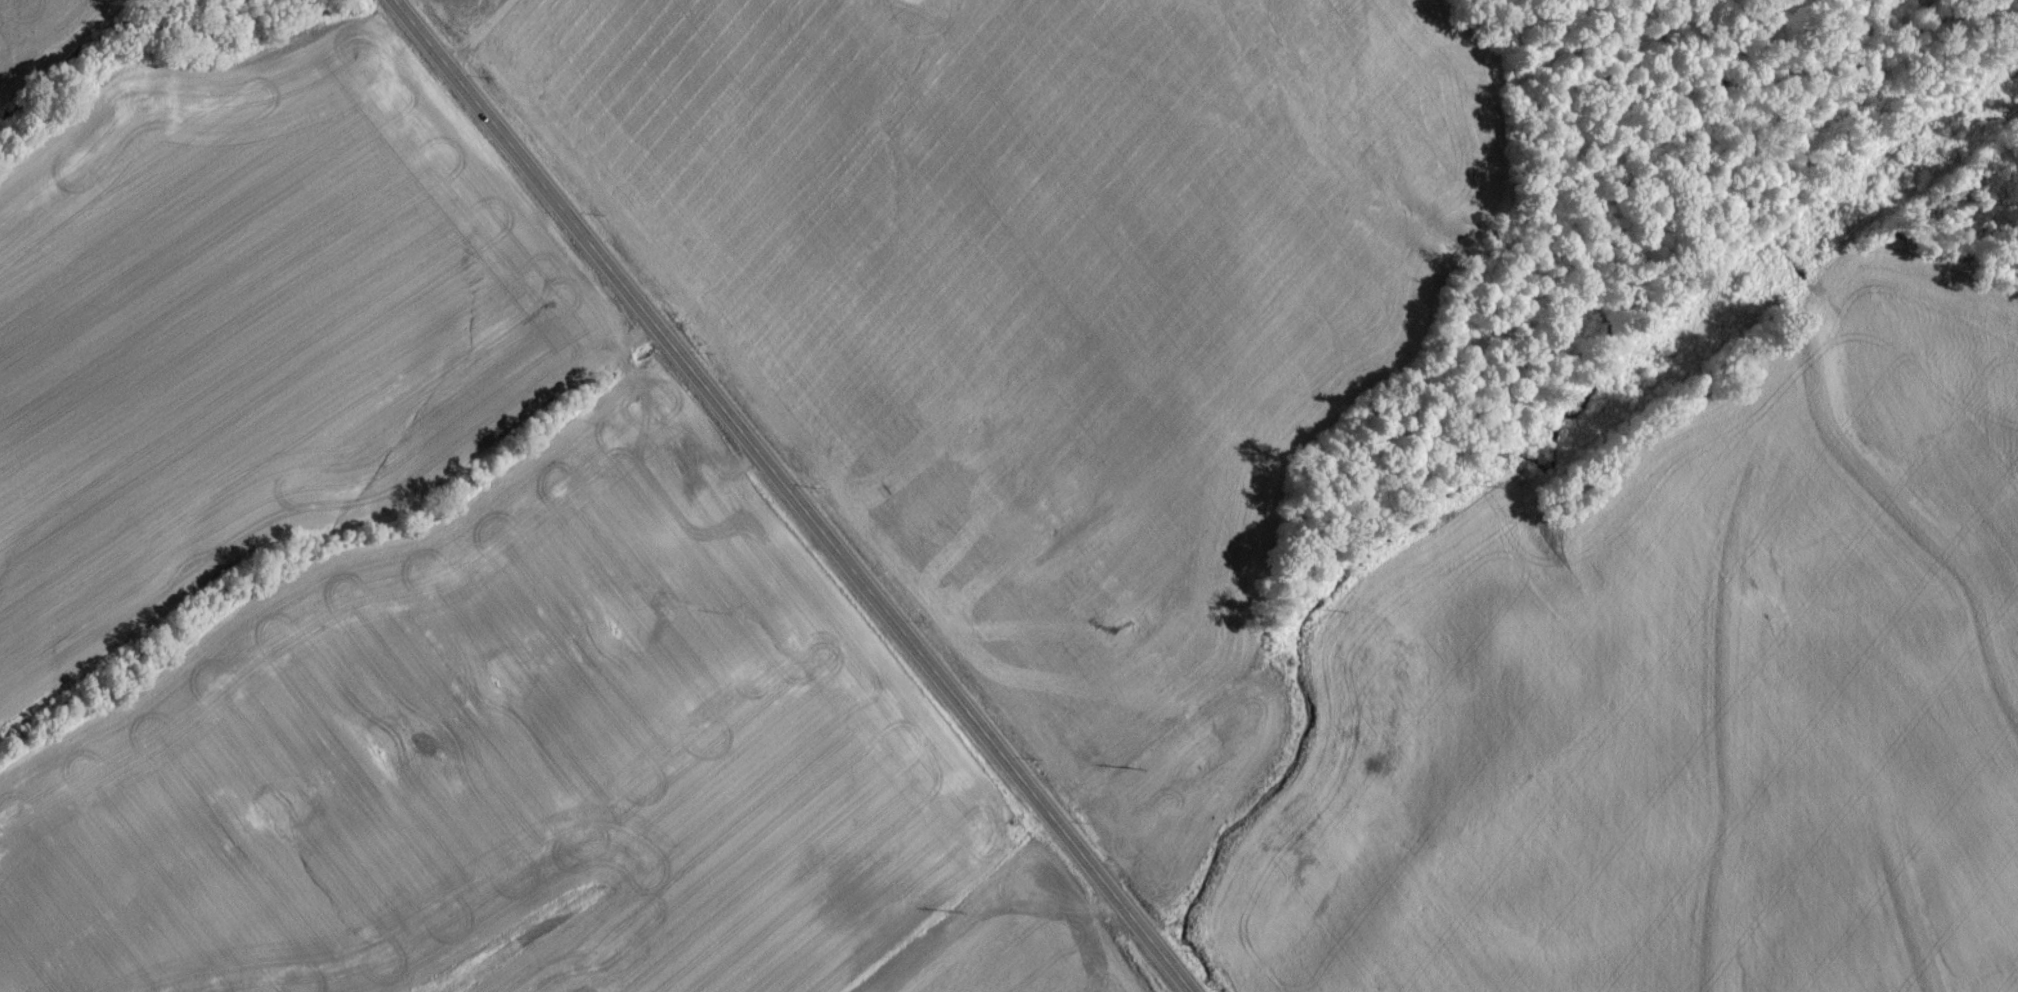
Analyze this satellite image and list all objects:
road: (785, 497)

